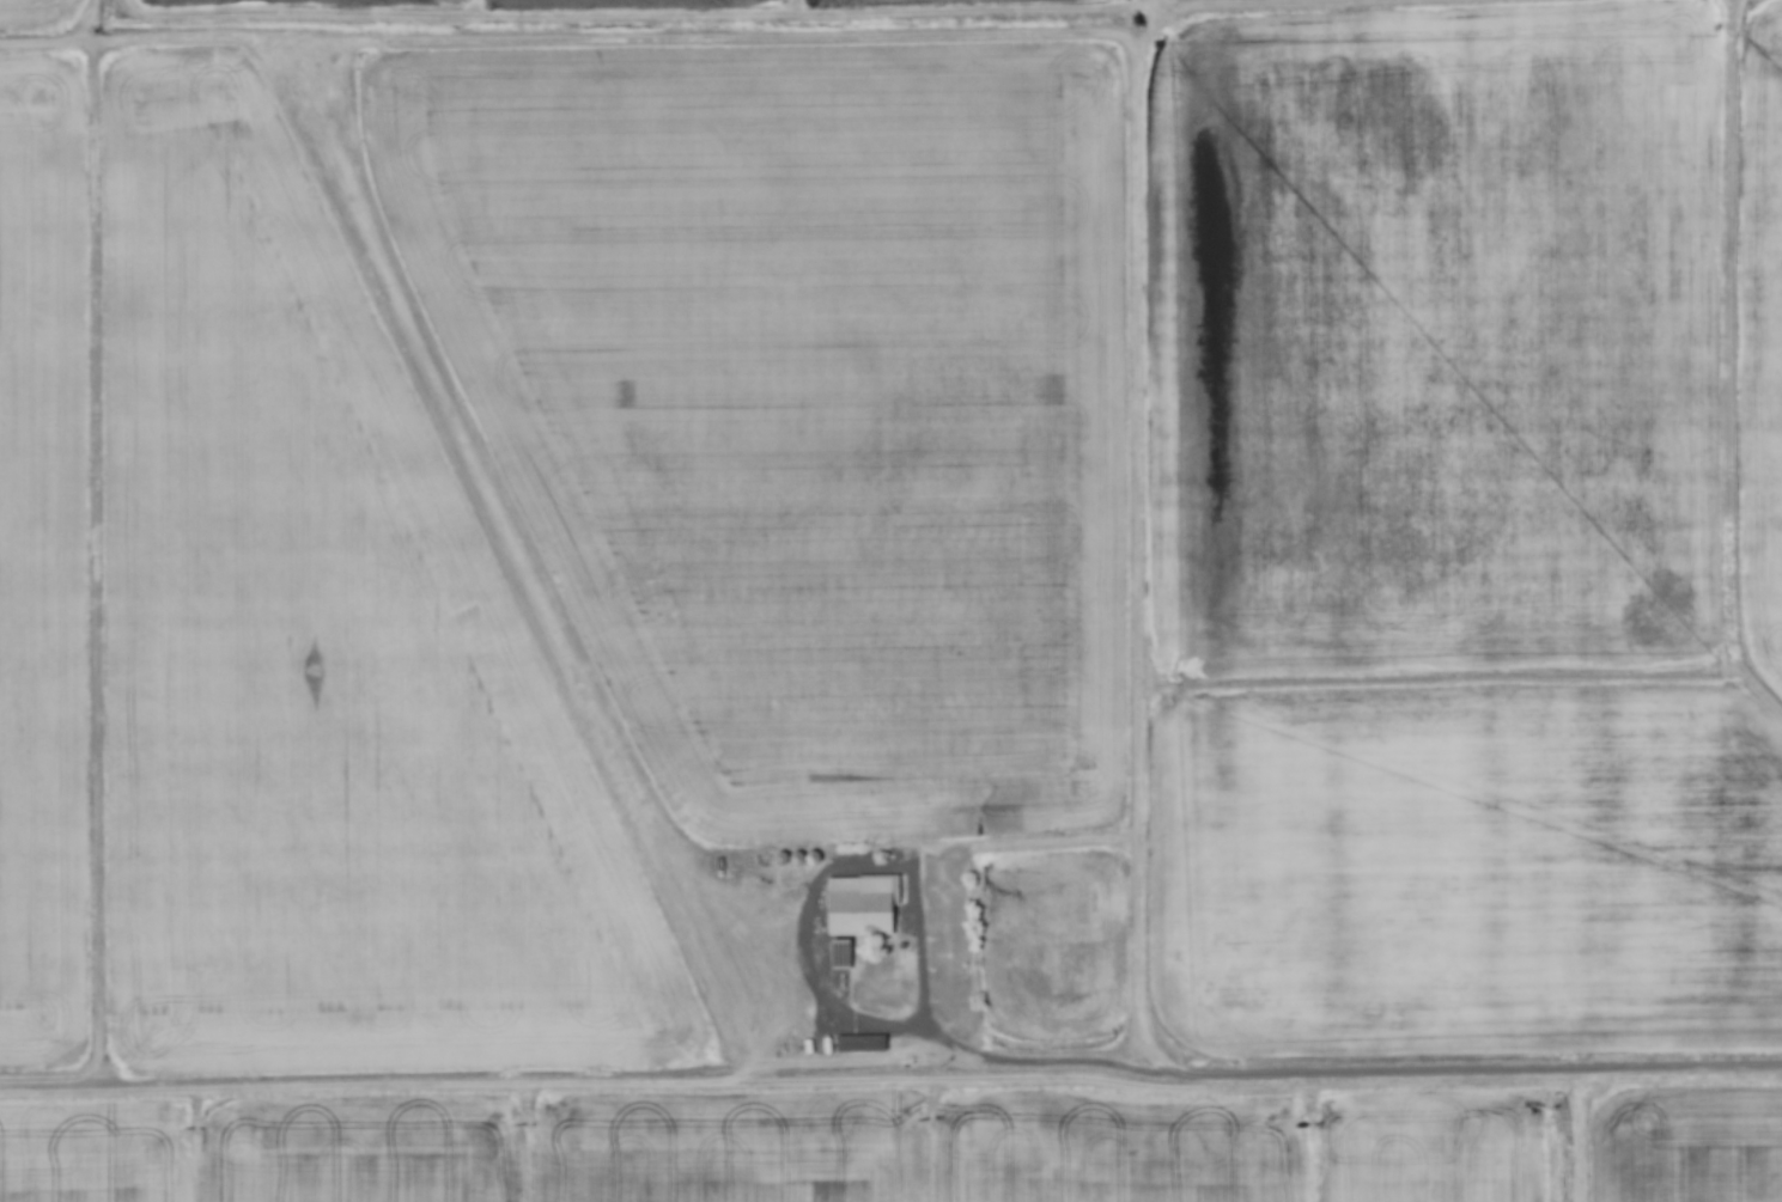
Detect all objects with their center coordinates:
airport runway: (515, 544)
building: (856, 904)
road: (1348, 1072)

